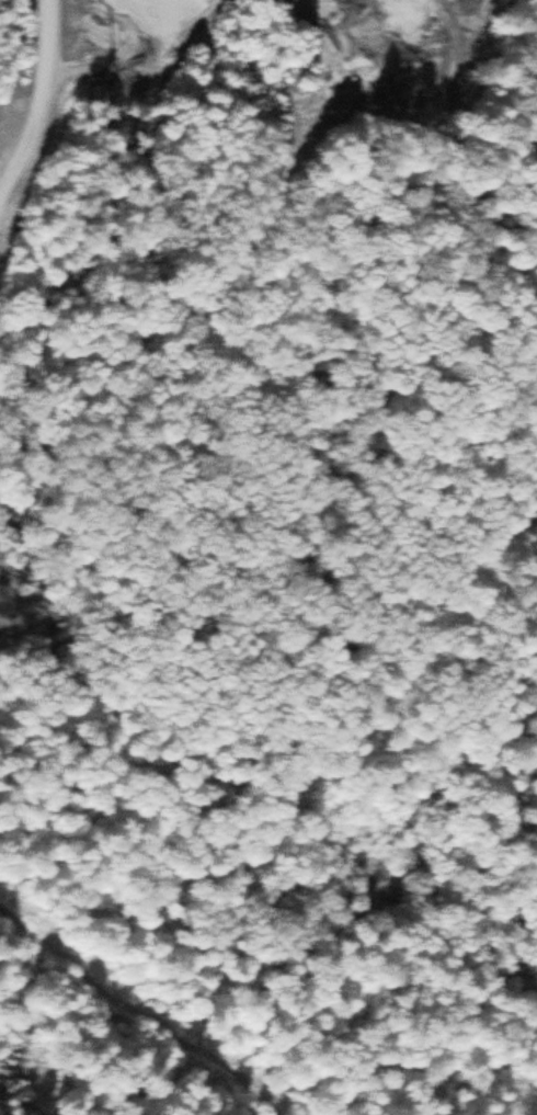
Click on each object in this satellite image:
quarry: (140, 43)
quarry: (375, 66)
road: (52, 113)
road: (146, 1015)

